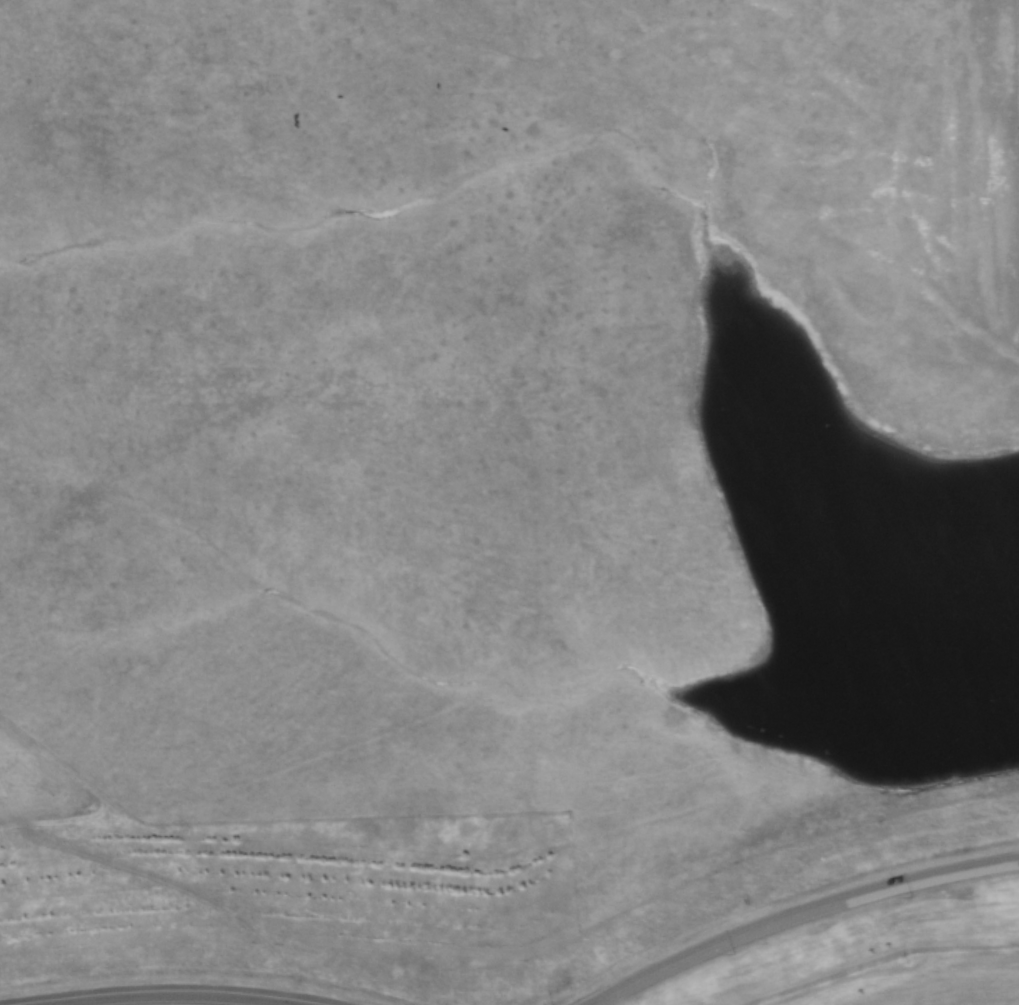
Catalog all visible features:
road: (799, 914)
road: (164, 996)

